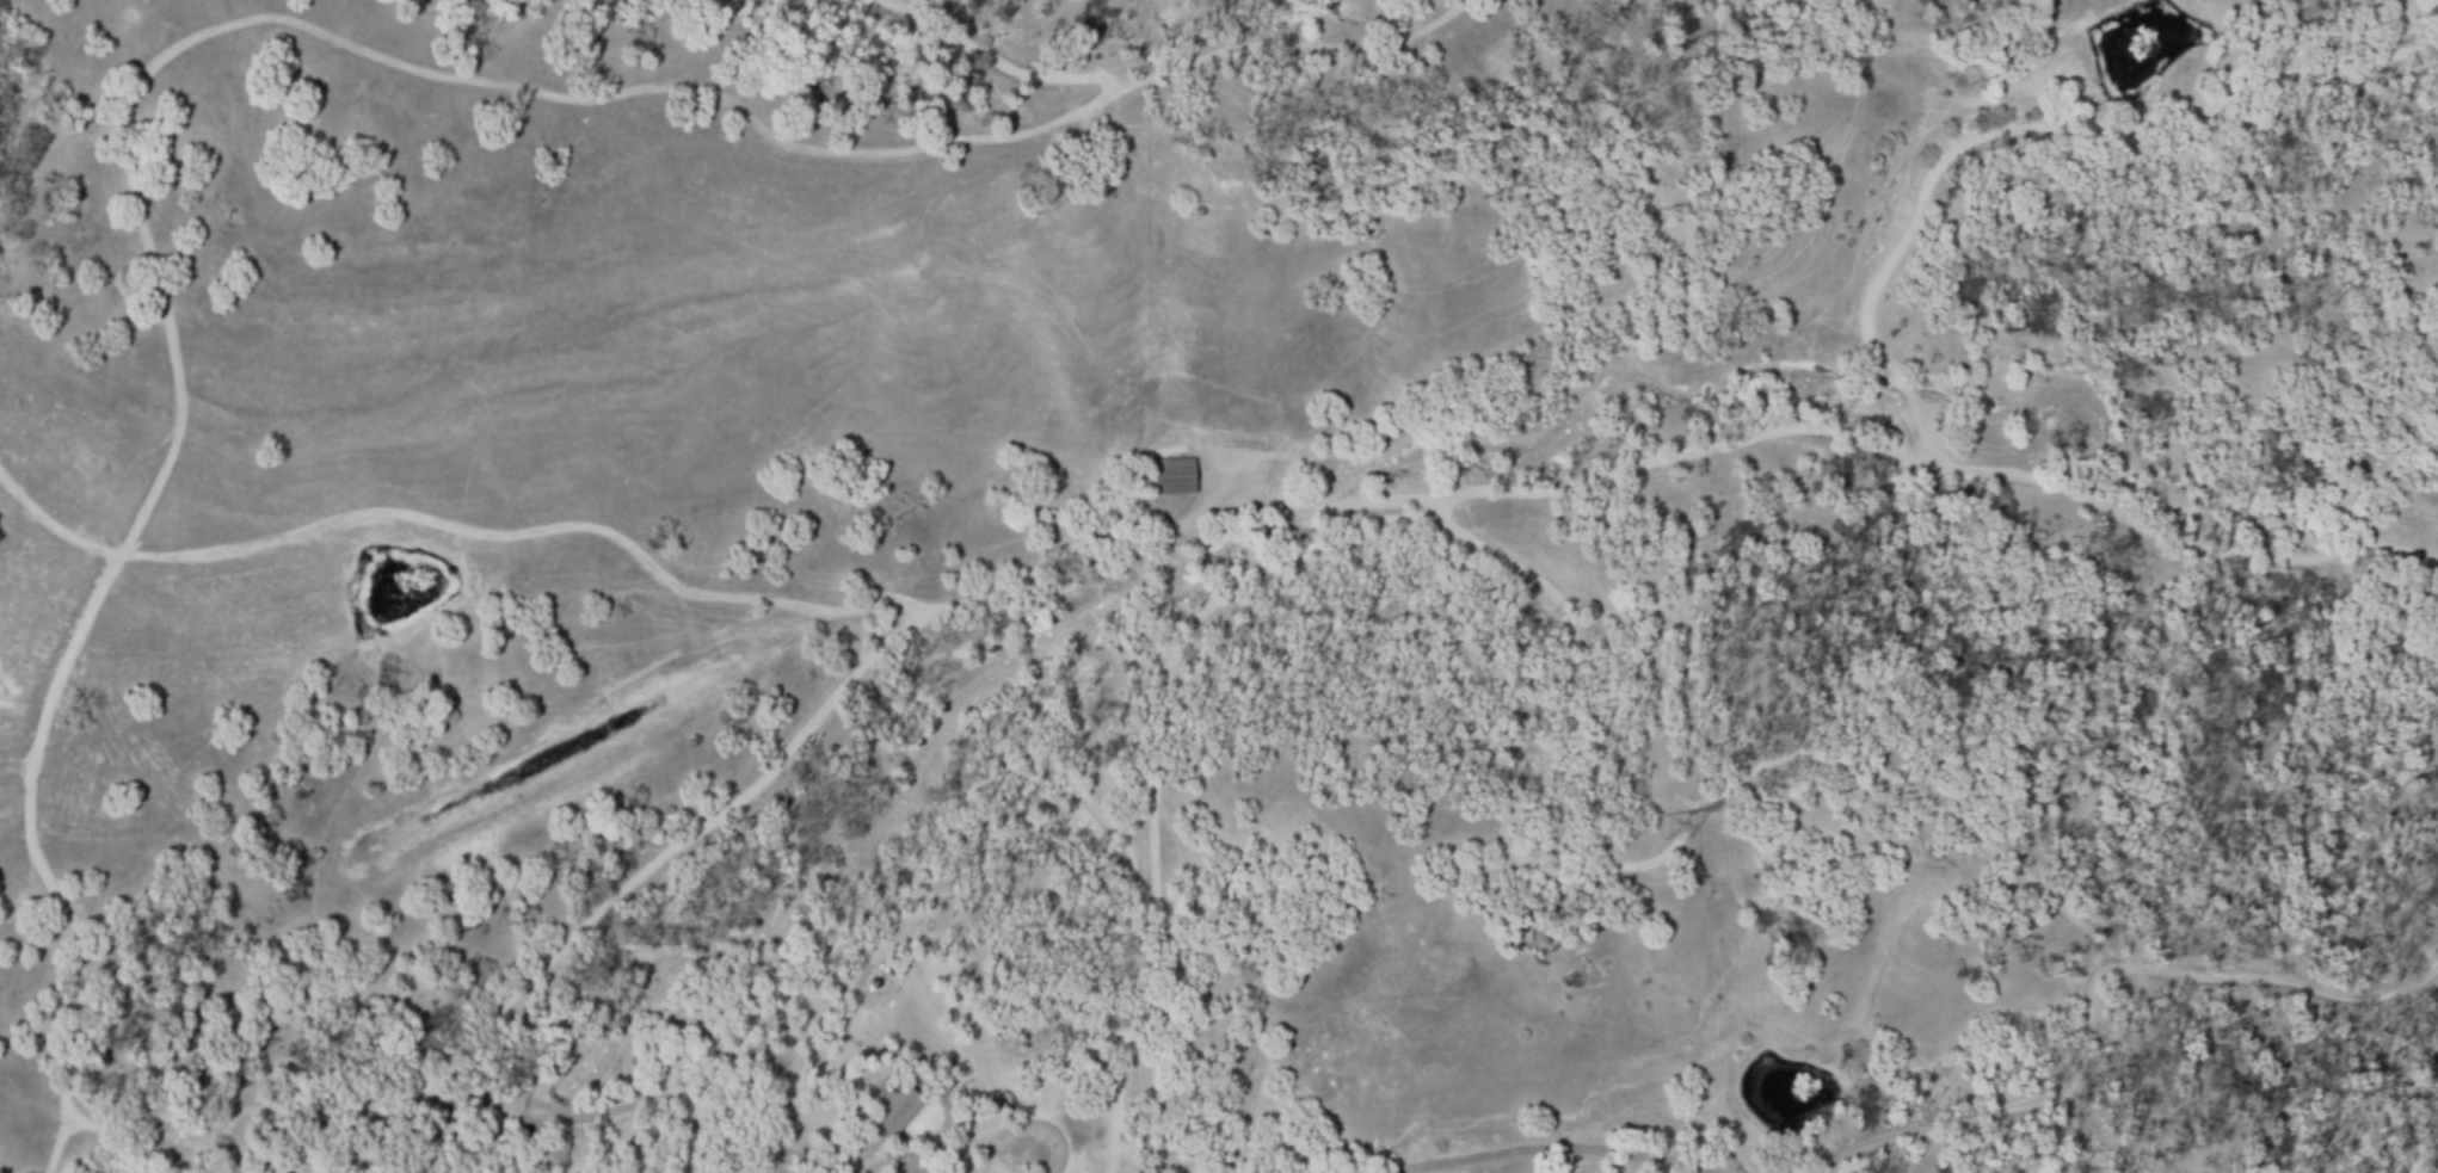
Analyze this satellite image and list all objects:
building: (1175, 476)
power tower: (1681, 832)
road: (530, 1109)
building: (898, 1111)

